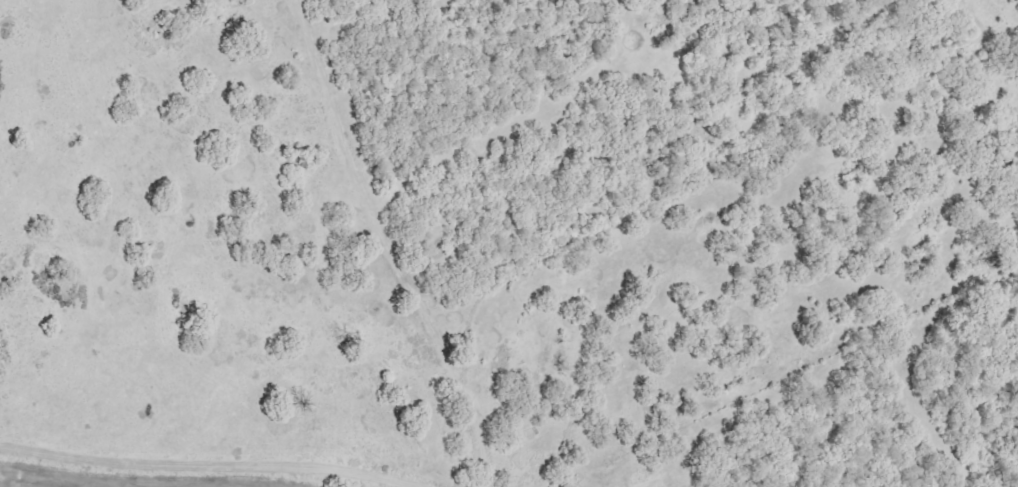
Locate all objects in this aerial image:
road: (207, 465)

